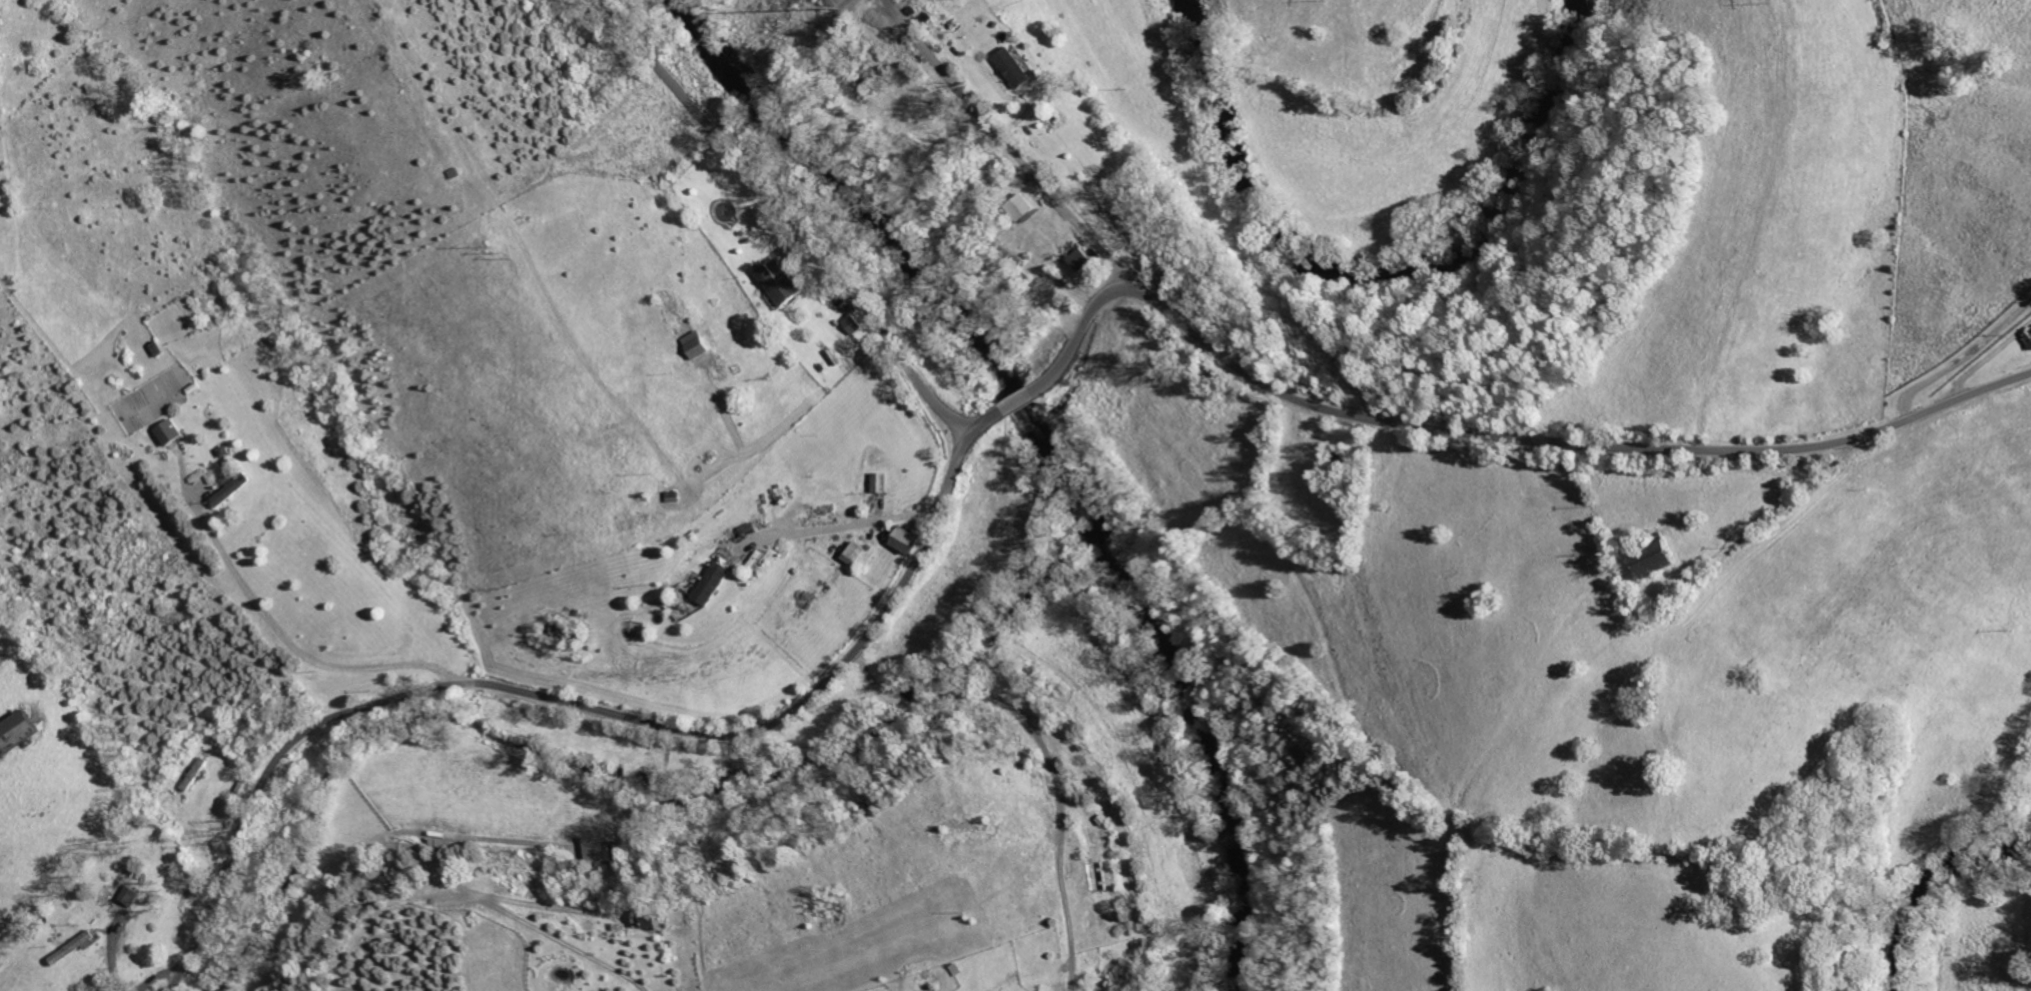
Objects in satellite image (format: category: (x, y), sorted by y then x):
power substation: (841, 3)
building: (1013, 67)
road: (1010, 144)
building: (1021, 208)
road: (796, 215)
power tower: (499, 251)
building: (1081, 258)
building: (779, 284)
building: (1044, 289)
building: (853, 324)
building: (693, 345)
road: (1961, 362)
road: (992, 425)
building: (164, 432)
building: (880, 483)
road: (845, 527)
building: (903, 540)
building: (854, 553)
building: (1647, 562)
building: (710, 582)
road: (296, 647)
building: (14, 732)
road: (1050, 751)
building: (136, 896)
road: (199, 977)

